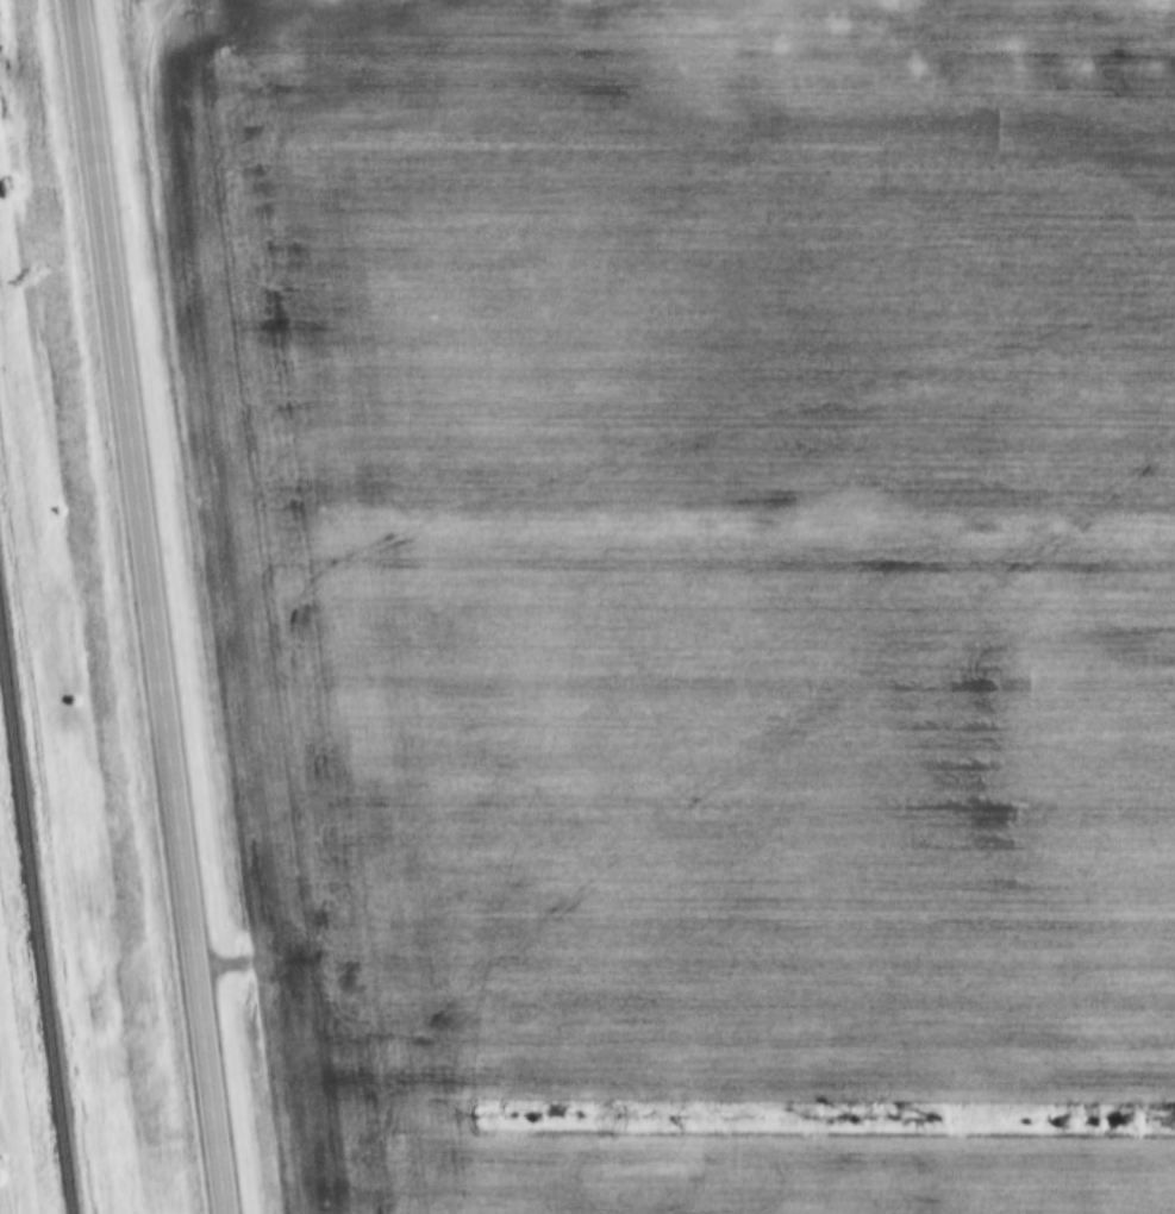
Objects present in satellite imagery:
crop: (686, 590)
road: (148, 607)
railway: (35, 928)

